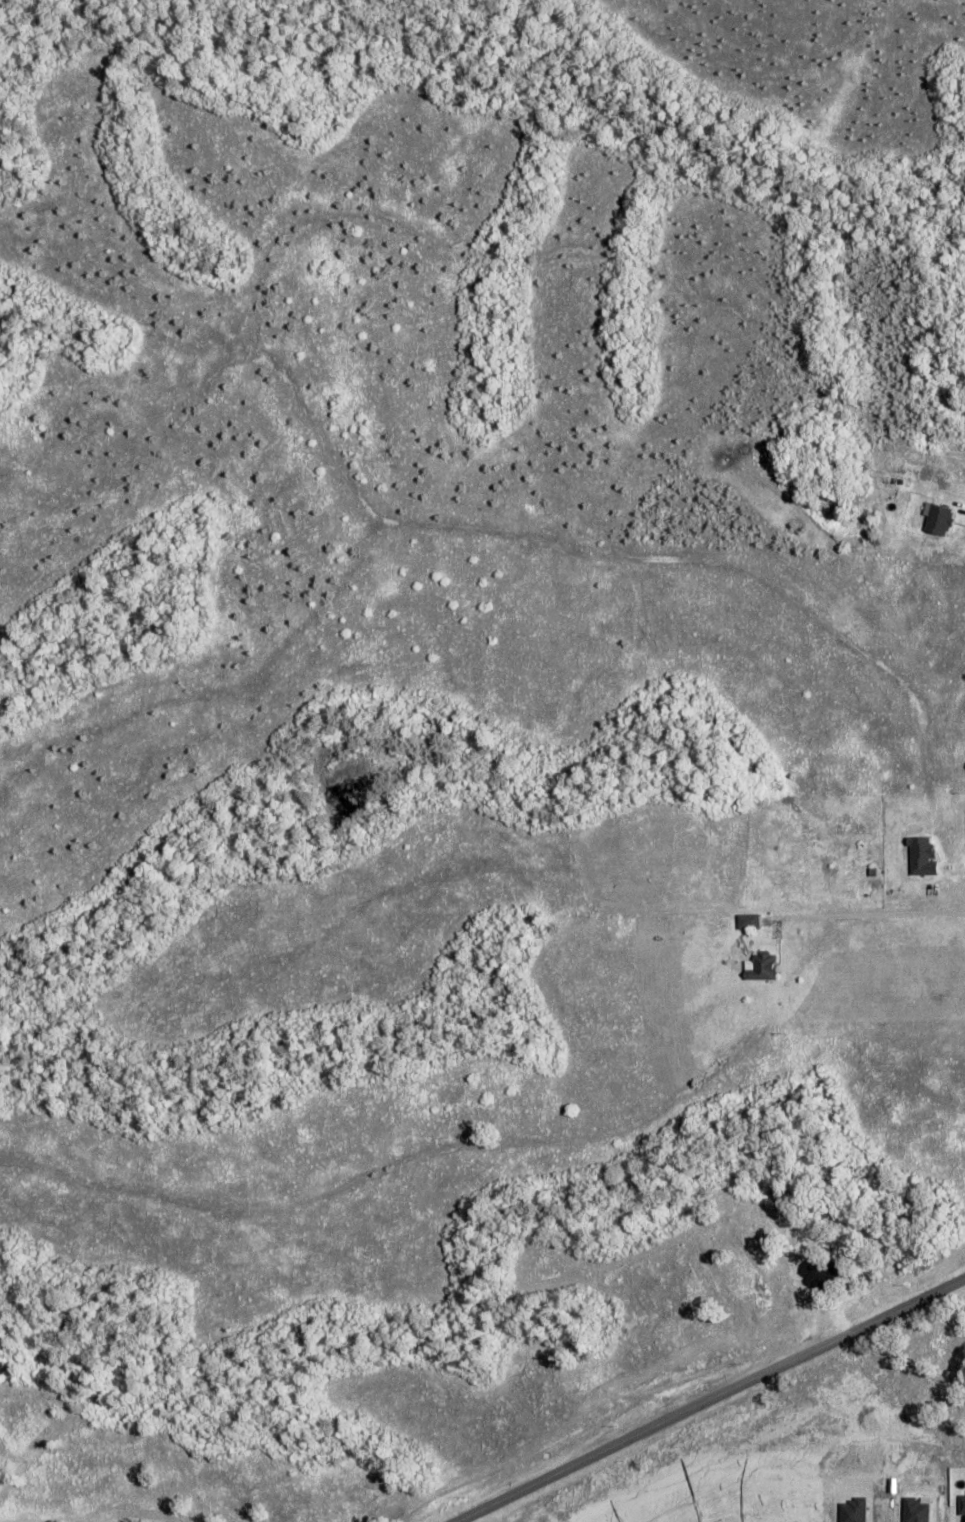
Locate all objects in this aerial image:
building: (936, 517)
building: (919, 856)
building: (747, 920)
building: (760, 966)
road: (710, 1398)
building: (961, 1505)

